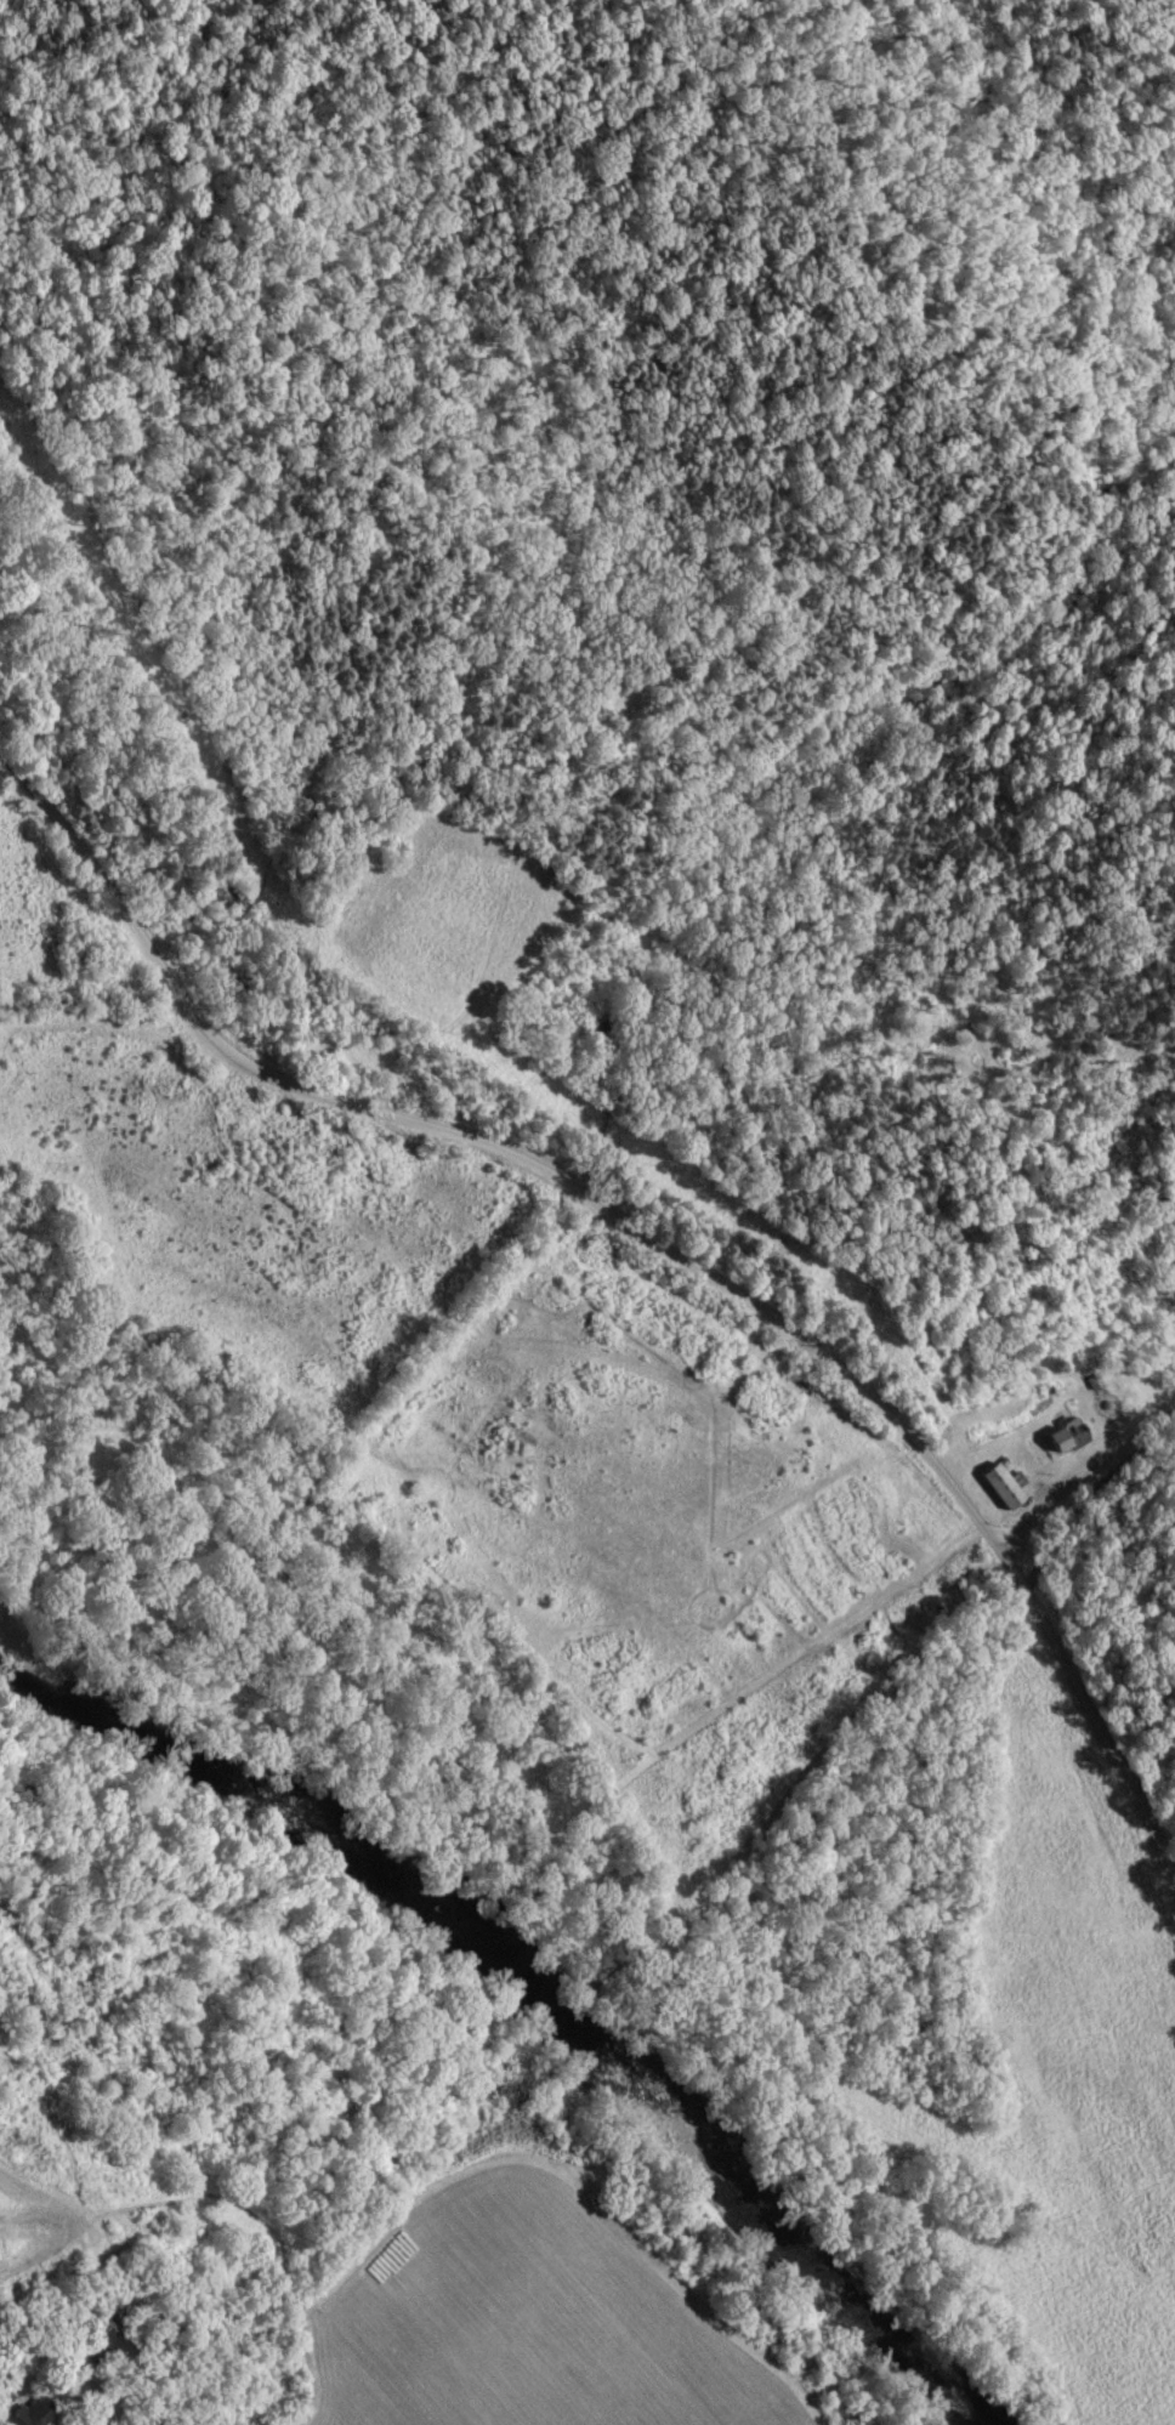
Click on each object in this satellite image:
road: (649, 1255)
building: (1061, 1439)
building: (995, 1488)
road: (1082, 1500)
river: (540, 1999)
crop: (537, 2316)
road: (100, 2383)
building: (28, 2414)

